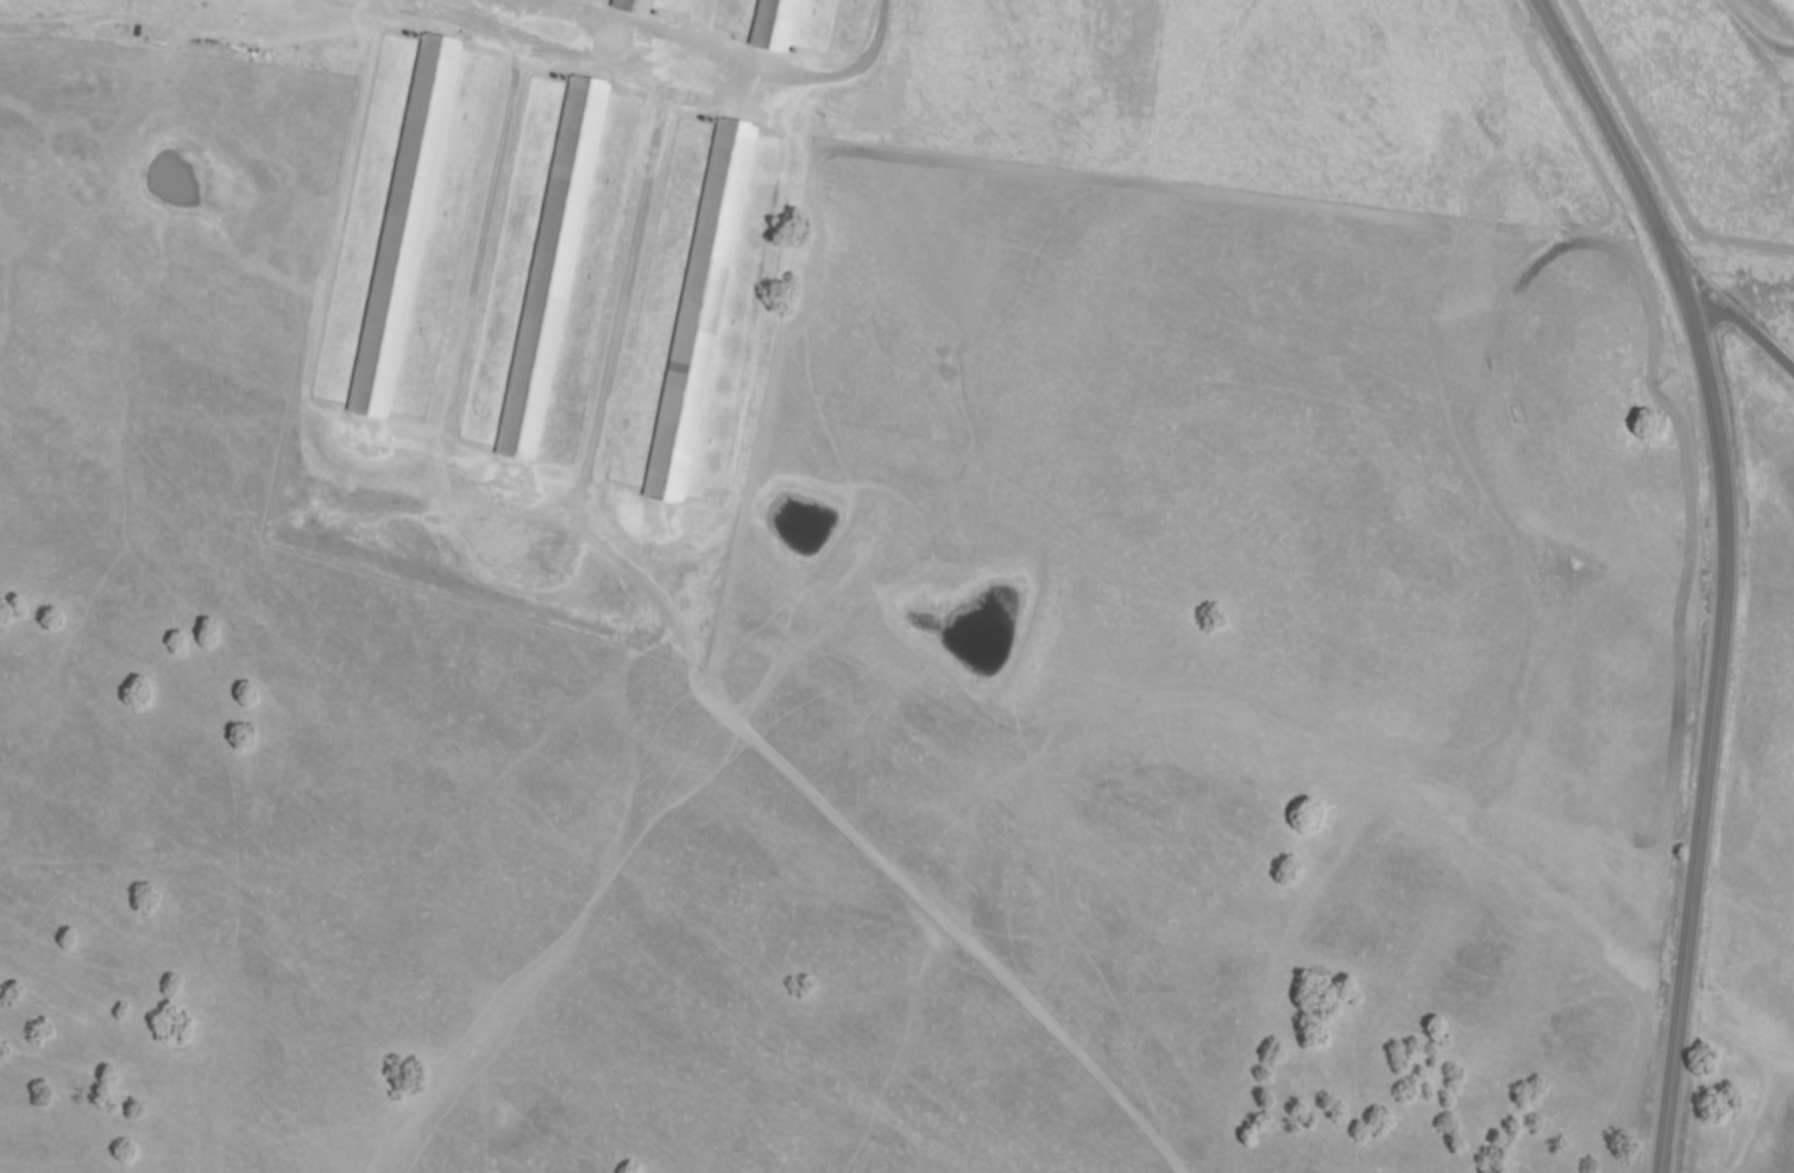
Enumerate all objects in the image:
building: (634, 5)
building: (775, 24)
road: (751, 56)
building: (405, 226)
building: (553, 270)
building: (700, 310)
road: (1741, 328)
road: (1720, 567)

